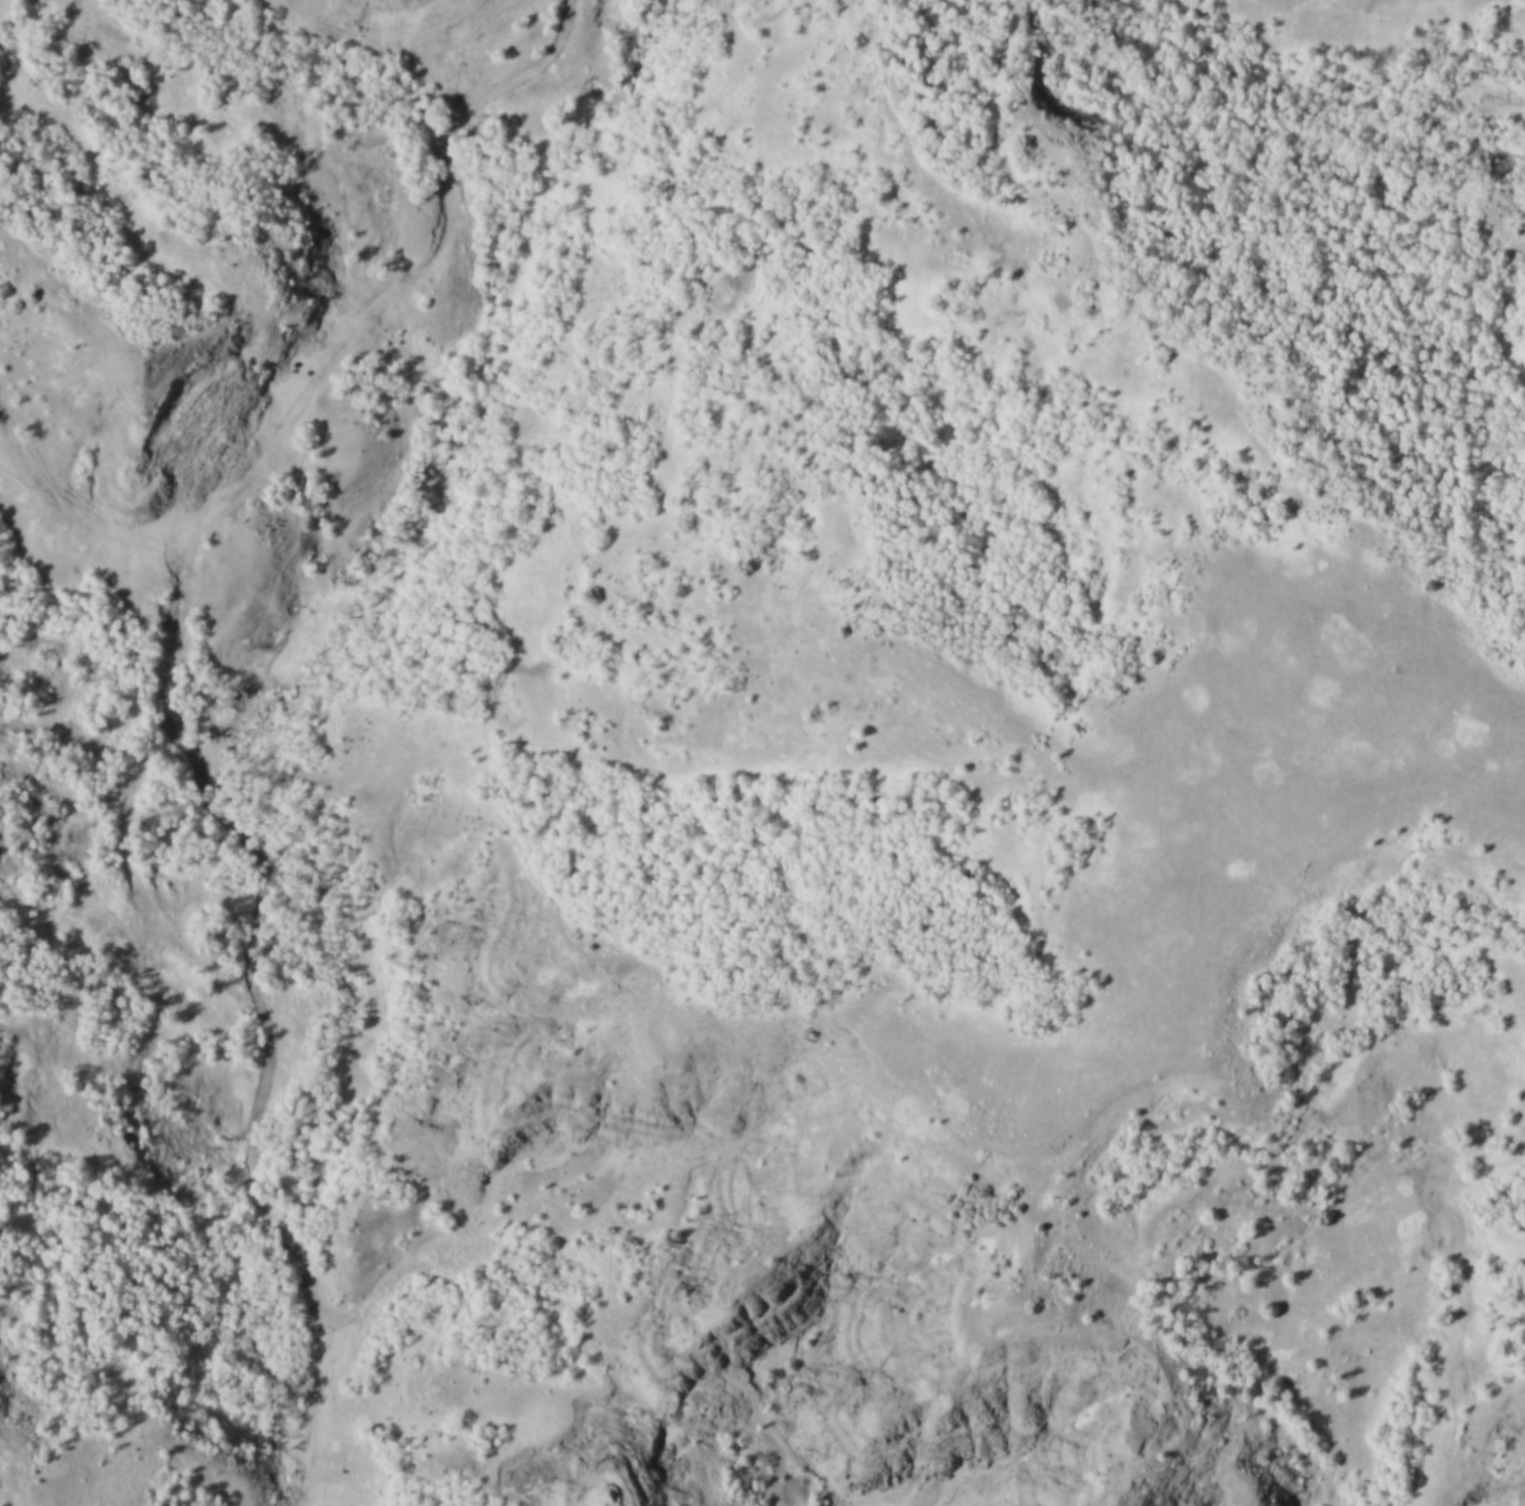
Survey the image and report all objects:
road: (73, 520)
road: (173, 717)
road: (71, 737)
road: (130, 801)

